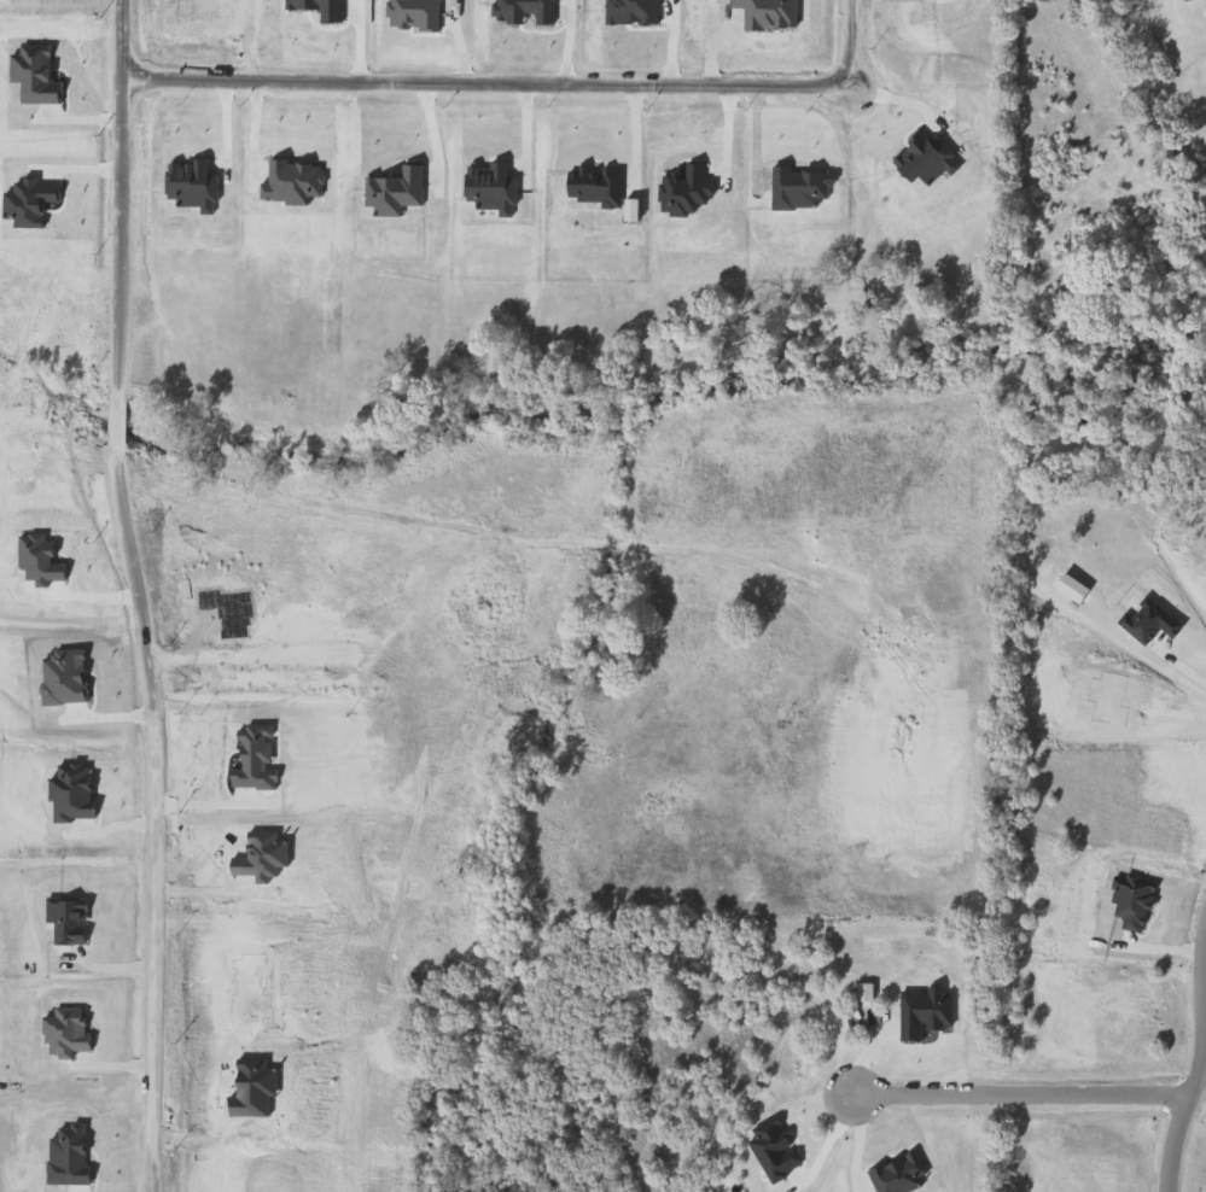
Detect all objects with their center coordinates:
road: (513, 86)
road: (127, 595)
road: (472, 701)
road: (1030, 1100)
road: (1189, 1117)

